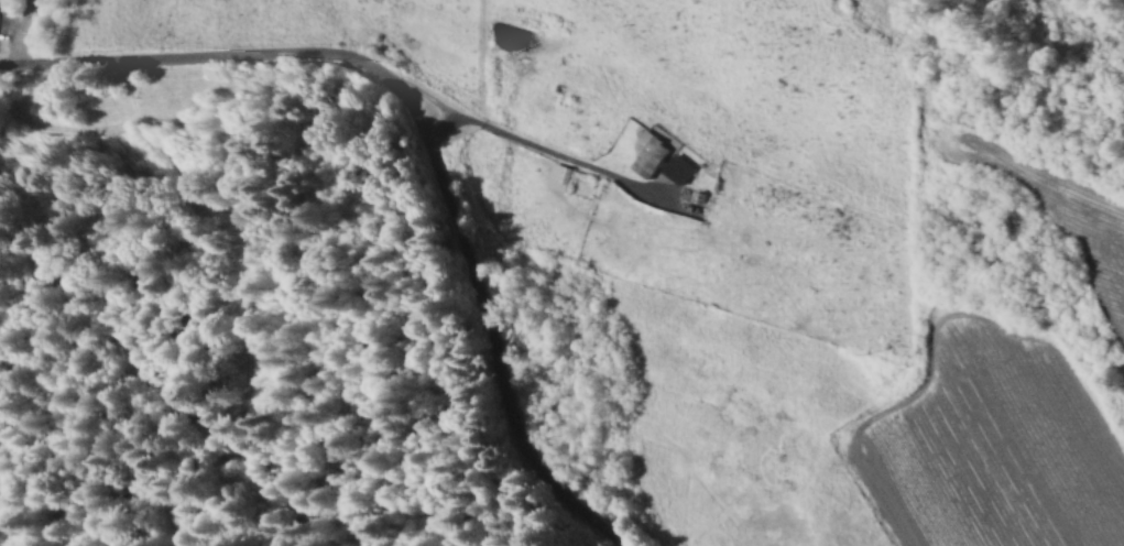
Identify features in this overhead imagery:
road: (429, 130)
building: (651, 153)
building: (678, 167)
building: (560, 175)

